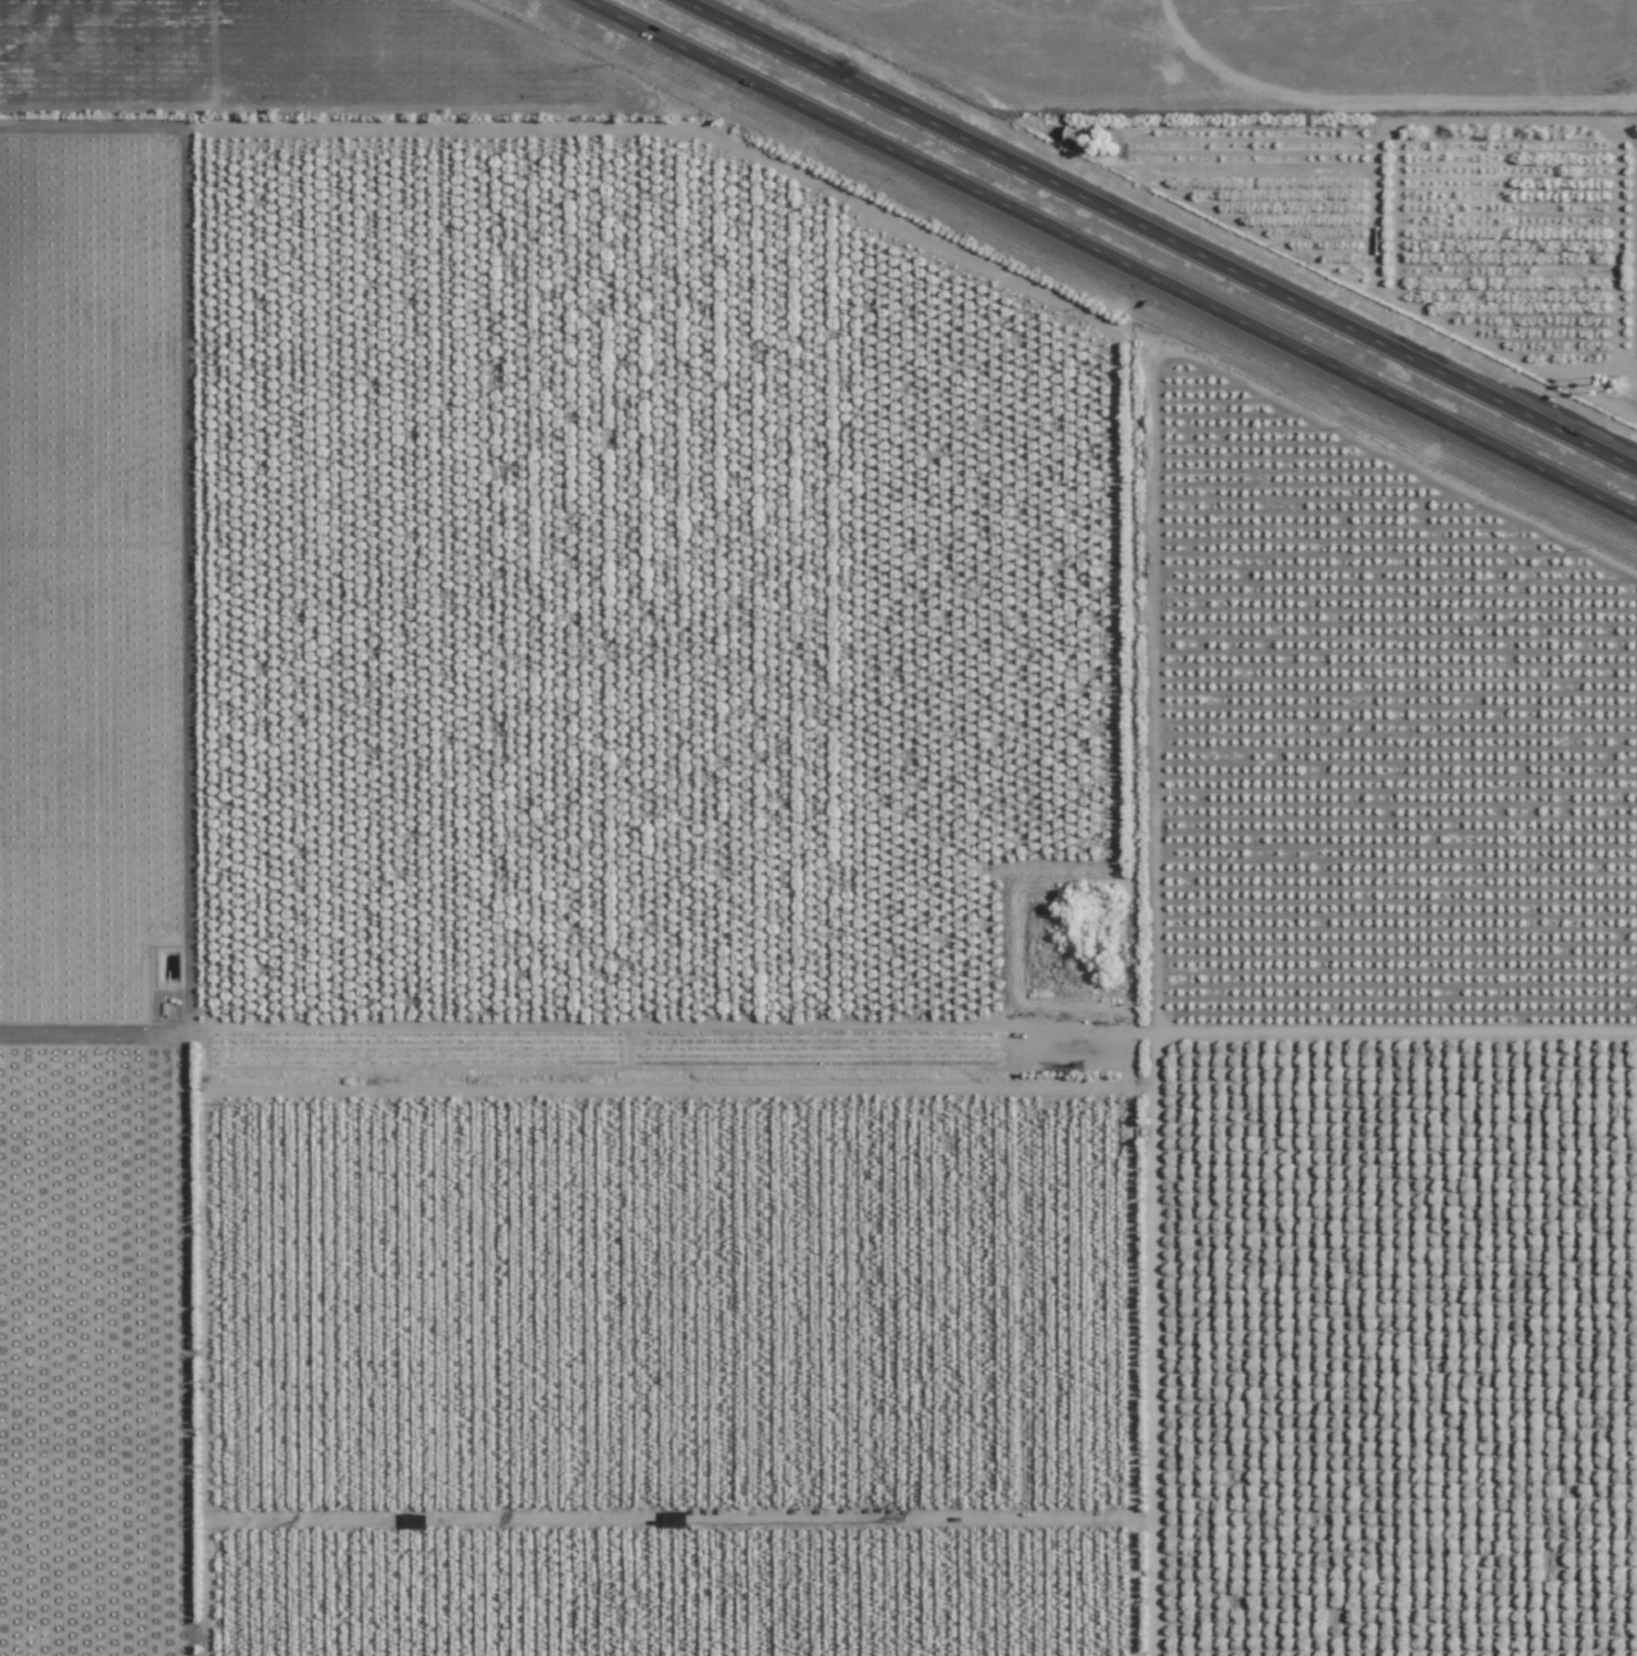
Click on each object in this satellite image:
road: (1150, 238)
road: (1092, 268)
road: (1136, 436)
crop: (817, 891)
wastewater plant: (1076, 942)

